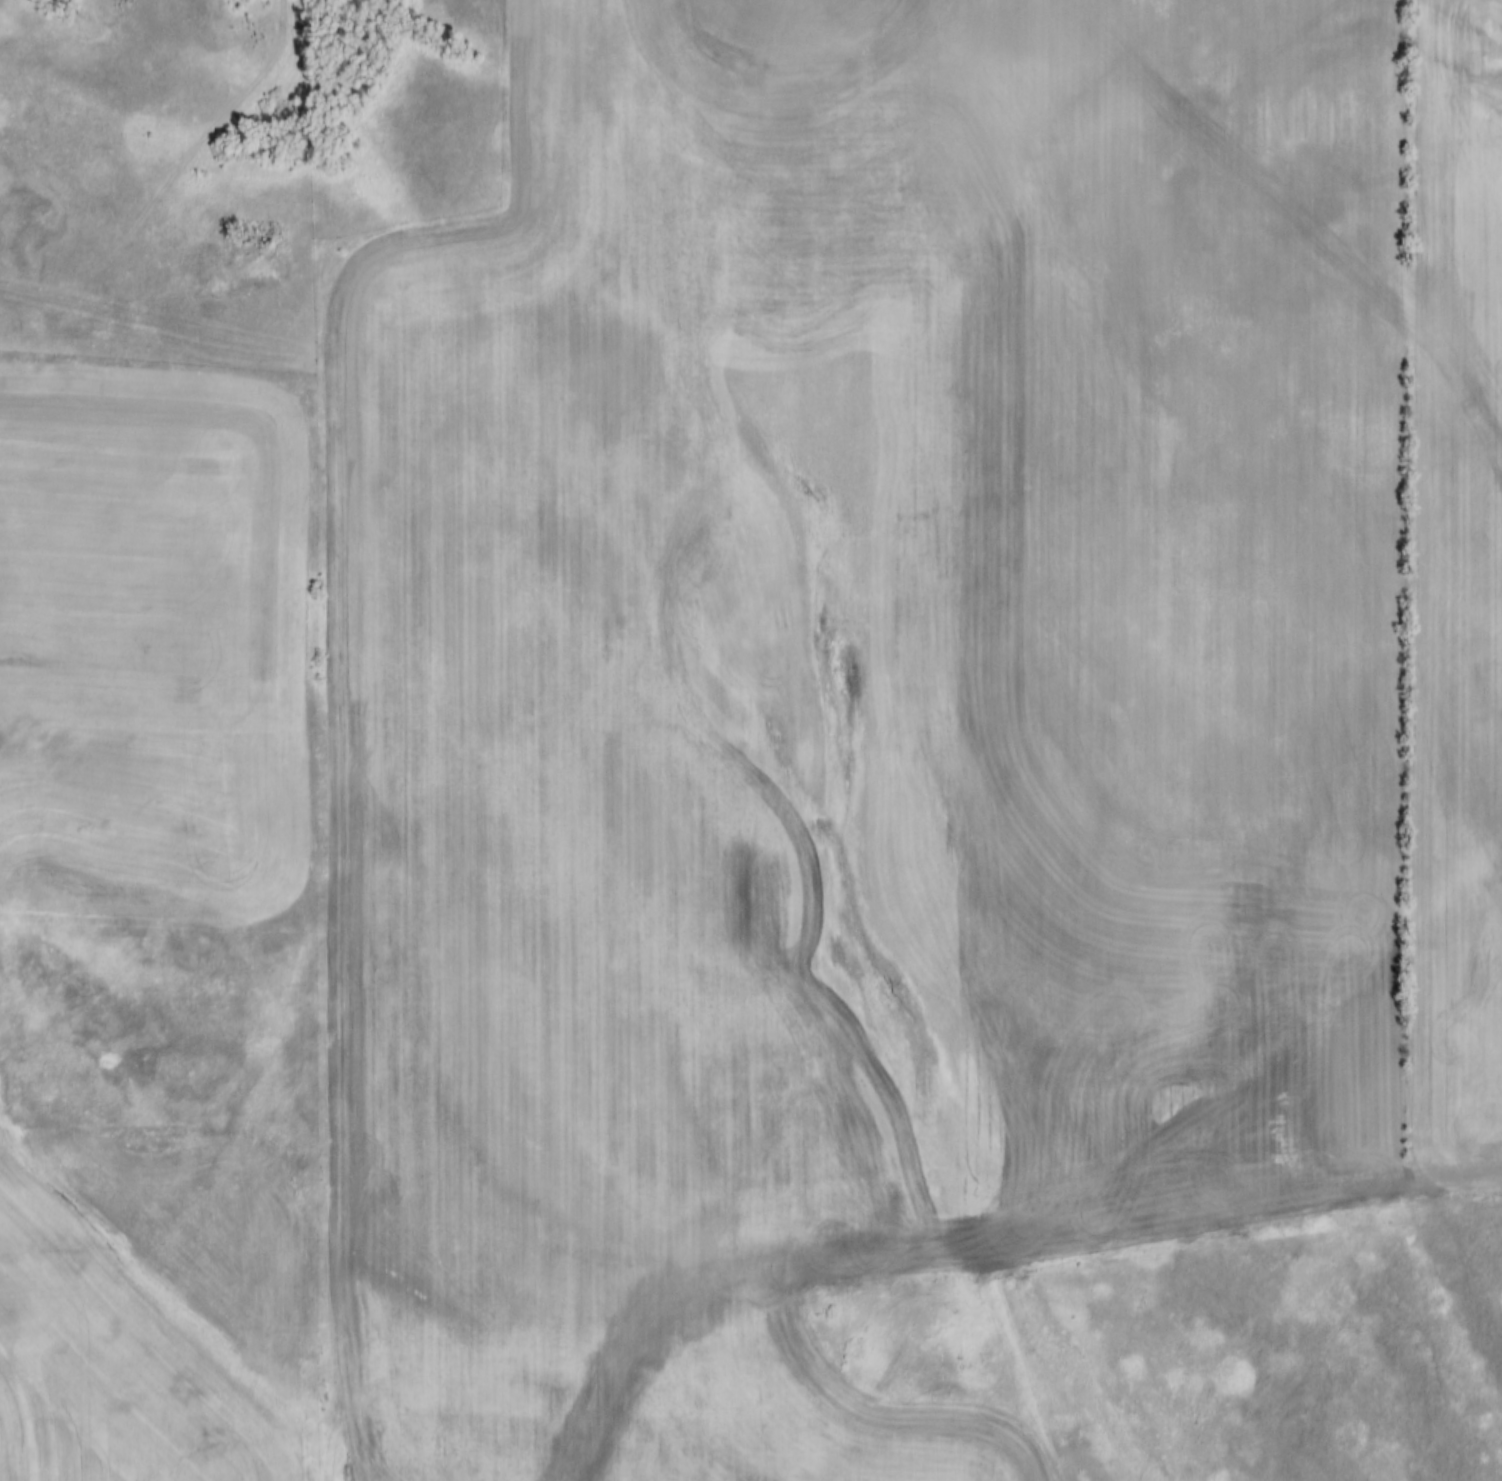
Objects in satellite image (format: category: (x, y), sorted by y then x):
road: (151, 319)

